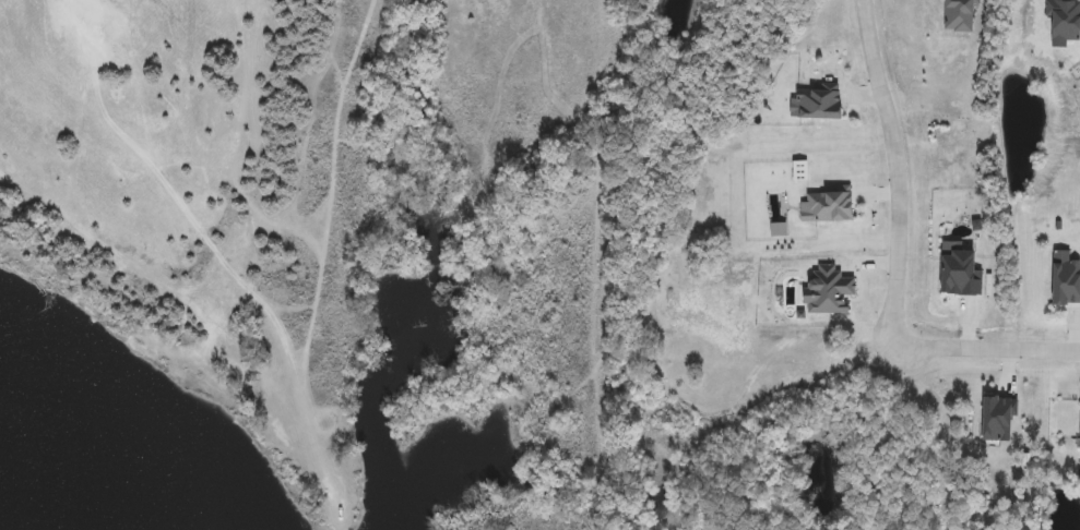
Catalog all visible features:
building: (957, 15)
building: (1059, 23)
building: (812, 105)
road: (899, 166)
building: (824, 207)
building: (957, 273)
building: (1063, 282)
building: (826, 289)
road: (988, 337)
building: (1079, 418)
building: (995, 420)

